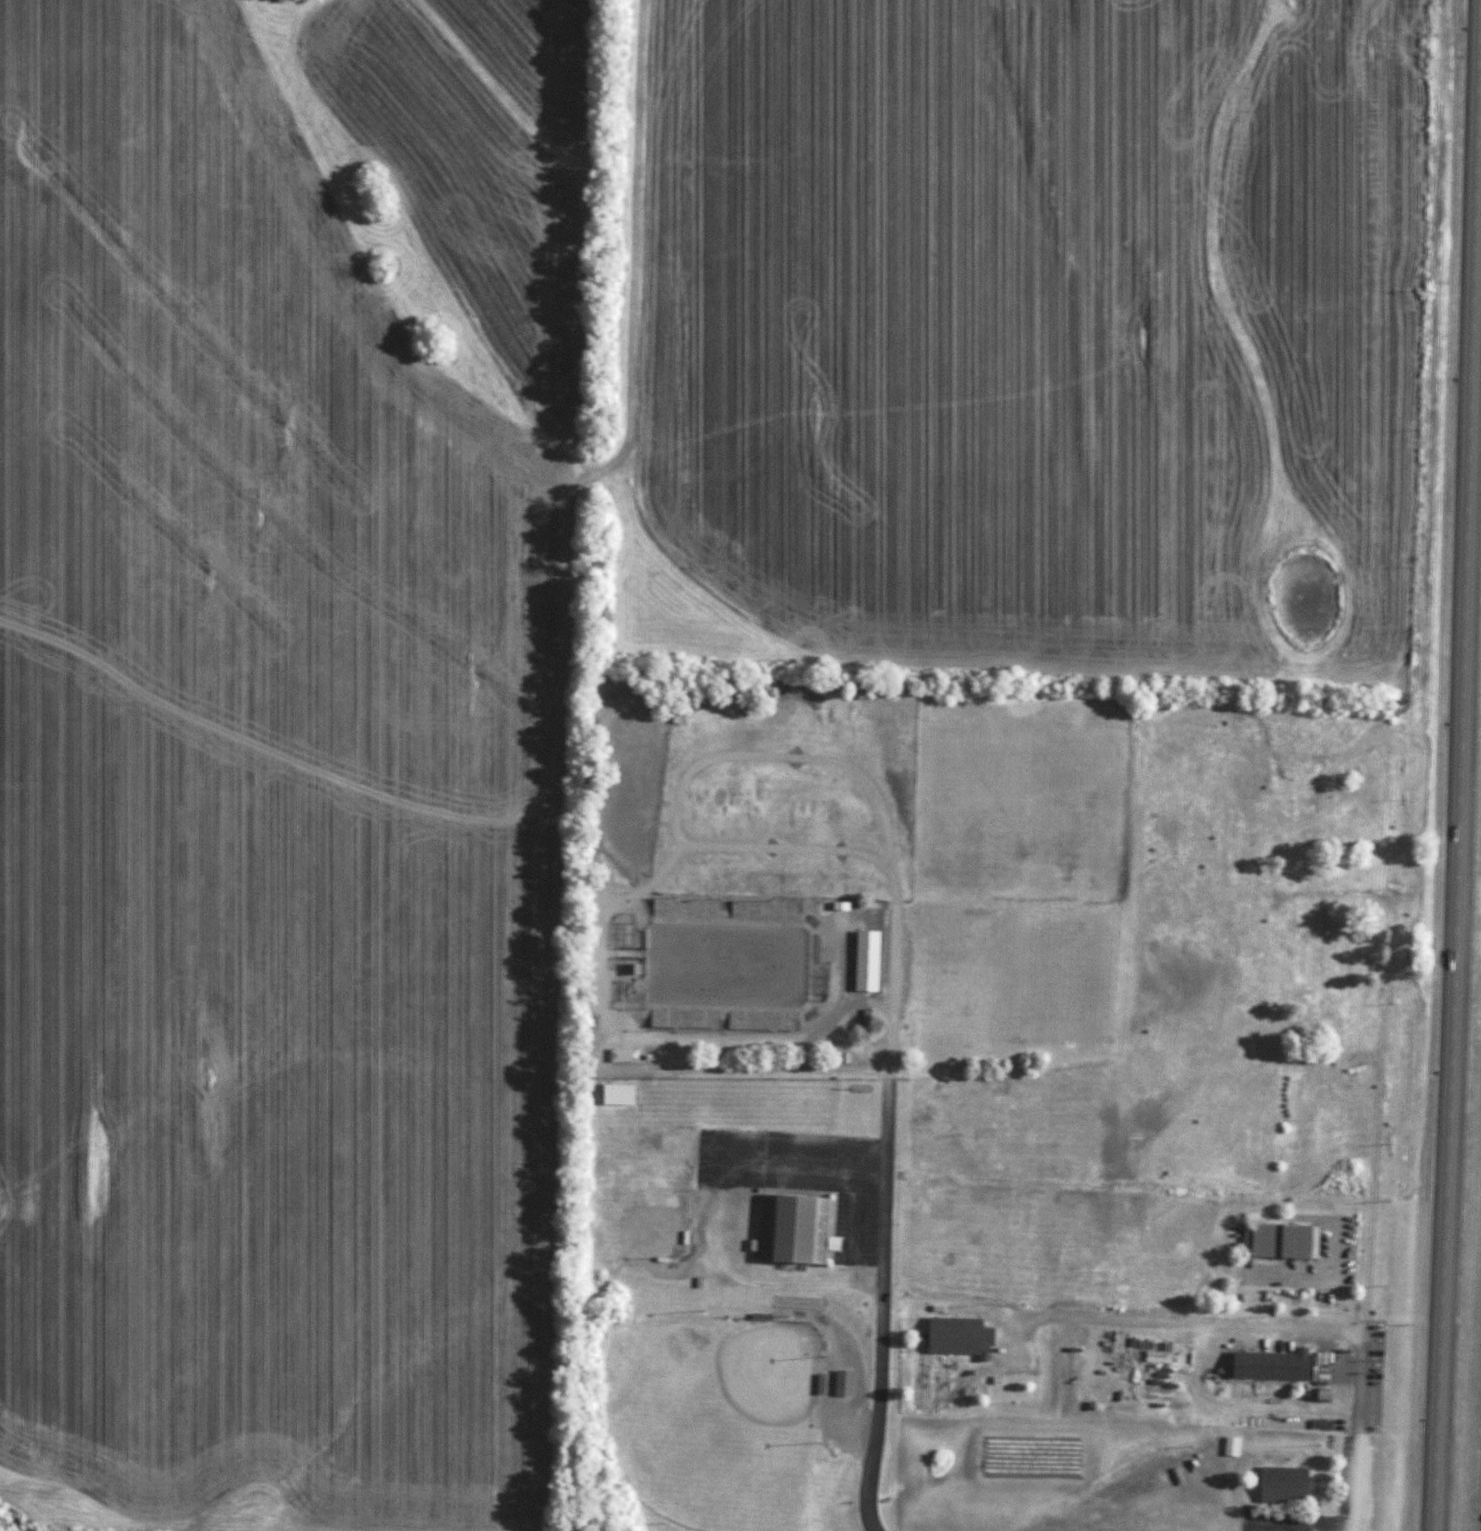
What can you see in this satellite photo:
building: (675, 717)
road: (1453, 770)
road: (684, 775)
building: (789, 911)
building: (864, 961)
stadium: (725, 962)
building: (621, 1055)
building: (615, 1094)
parking lot: (802, 1173)
road: (886, 1202)
park: (632, 1214)
building: (790, 1226)
building: (1281, 1241)
road: (811, 1283)
road: (1180, 1321)
building: (953, 1337)
building: (1269, 1366)
building: (841, 1384)
park: (715, 1423)
road: (1351, 1432)
building: (1230, 1447)
building: (1282, 1485)

